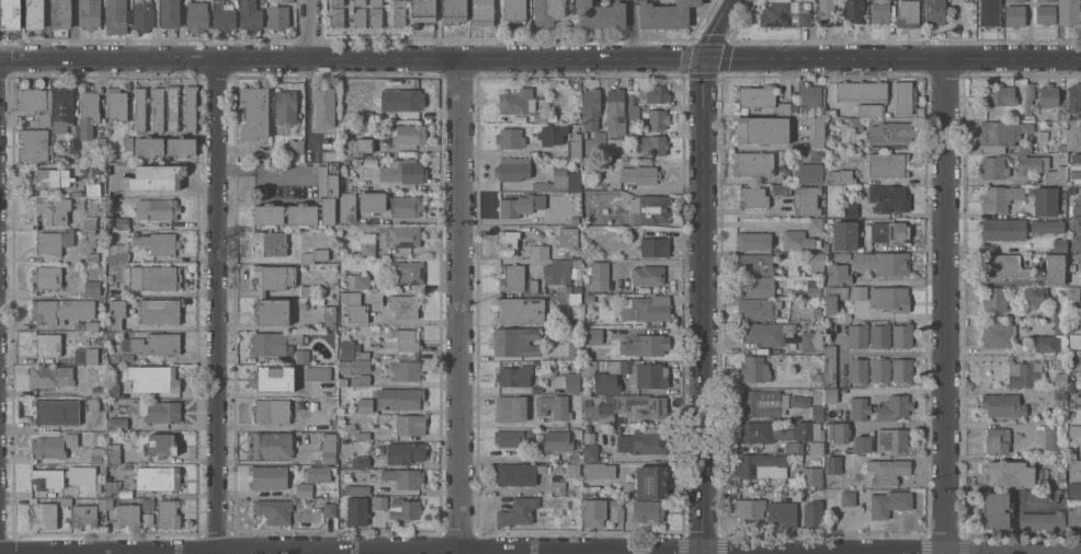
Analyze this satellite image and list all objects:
building: (287, 1)
building: (1015, 1)
building: (1046, 1)
building: (337, 2)
building: (359, 2)
building: (375, 2)
building: (399, 2)
building: (423, 10)
building: (515, 10)
building: (853, 10)
building: (454, 11)
building: (826, 11)
building: (880, 11)
building: (482, 12)
building: (544, 12)
building: (935, 12)
building: (1069, 12)
building: (11, 13)
building: (34, 13)
building: (61, 13)
building: (90, 13)
building: (170, 13)
building: (775, 13)
building: (909, 13)
building: (989, 13)
building: (600, 14)
building: (665, 14)
building: (1046, 14)
building: (1014, 15)
building: (116, 16)
building: (143, 16)
building: (197, 16)
building: (224, 16)
building: (251, 16)
building: (278, 16)
building: (399, 16)
building: (337, 18)
building: (360, 18)
building: (375, 18)
building: (805, 18)
road: (630, 27)
road: (1029, 27)
road: (314, 30)
road: (539, 57)
road: (1, 79)
building: (861, 90)
building: (653, 93)
building: (998, 94)
building: (756, 95)
building: (809, 95)
building: (1049, 95)
building: (631, 96)
building: (903, 97)
building: (1074, 97)
building: (33, 99)
building: (349, 99)
building: (1028, 99)
building: (401, 100)
building: (517, 101)
building: (62, 104)
building: (117, 104)
building: (286, 106)
building: (172, 107)
building: (191, 107)
building: (325, 107)
building: (139, 108)
building: (158, 108)
building: (591, 108)
building: (784, 108)
building: (871, 109)
building: (615, 112)
building: (634, 112)
building: (830, 112)
building: (255, 113)
building: (89, 114)
building: (366, 115)
building: (539, 117)
building: (44, 119)
building: (656, 119)
building: (855, 124)
building: (762, 129)
building: (817, 130)
building: (1002, 131)
building: (553, 134)
building: (409, 135)
building: (584, 135)
building: (634, 135)
building: (890, 135)
building: (1042, 137)
building: (510, 138)
building: (102, 143)
building: (128, 143)
building: (595, 143)
building: (34, 145)
building: (73, 145)
building: (357, 145)
building: (149, 146)
building: (182, 146)
building: (296, 146)
building: (653, 146)
building: (574, 147)
building: (1025, 148)
building: (623, 150)
building: (861, 152)
building: (833, 154)
building: (784, 155)
building: (817, 155)
building: (1076, 158)
building: (753, 163)
building: (1031, 163)
building: (887, 164)
road: (260, 168)
building: (994, 168)
building: (513, 169)
building: (95, 171)
building: (403, 171)
building: (810, 172)
building: (639, 174)
building: (1056, 175)
building: (158, 176)
building: (840, 176)
building: (52, 180)
building: (560, 183)
building: (89, 189)
building: (781, 189)
building: (1071, 189)
building: (328, 193)
building: (753, 197)
building: (1000, 197)
building: (889, 198)
building: (1080, 198)
building: (807, 200)
building: (371, 201)
building: (1046, 201)
building: (345, 206)
building: (407, 206)
building: (512, 206)
building: (54, 209)
building: (157, 209)
building: (649, 209)
building: (359, 210)
building: (558, 210)
building: (851, 210)
building: (1073, 211)
building: (269, 215)
building: (303, 215)
building: (624, 220)
road: (742, 222)
building: (90, 223)
building: (815, 224)
building: (1047, 226)
building: (624, 229)
building: (1004, 229)
building: (889, 232)
building: (845, 235)
building: (403, 236)
building: (568, 236)
building: (754, 240)
building: (797, 240)
building: (54, 242)
building: (158, 242)
building: (270, 243)
building: (509, 243)
building: (1060, 244)
building: (1079, 244)
building: (655, 246)
building: (367, 247)
building: (538, 251)
building: (576, 255)
building: (320, 256)
building: (842, 256)
building: (92, 257)
building: (118, 258)
building: (1080, 259)
road: (662, 262)
building: (884, 262)
building: (577, 263)
building: (817, 263)
building: (755, 264)
building: (1002, 266)
building: (1071, 267)
building: (1056, 268)
building: (407, 273)
road: (703, 273)
building: (557, 274)
building: (838, 274)
building: (600, 275)
building: (648, 275)
building: (48, 277)
building: (159, 277)
building: (274, 277)
building: (512, 277)
building: (356, 280)
building: (536, 286)
building: (756, 286)
building: (92, 287)
building: (115, 287)
building: (813, 287)
building: (1062, 289)
building: (307, 291)
building: (1074, 293)
building: (842, 296)
building: (1035, 296)
building: (589, 297)
building: (608, 297)
building: (890, 298)
building: (574, 299)
building: (994, 299)
building: (102, 300)
road: (945, 304)
road: (217, 305)
building: (403, 305)
road: (463, 305)
building: (354, 307)
building: (646, 308)
building: (759, 309)
building: (62, 310)
building: (520, 310)
building: (159, 311)
building: (272, 311)
building: (1060, 311)
building: (817, 312)
building: (116, 313)
building: (847, 316)
building: (330, 318)
building: (92, 325)
building: (1059, 327)
building: (767, 332)
building: (111, 333)
building: (999, 334)
building: (594, 335)
building: (858, 335)
building: (880, 335)
building: (902, 335)
building: (407, 339)
building: (808, 341)
building: (515, 342)
building: (1046, 343)
building: (46, 344)
building: (153, 344)
building: (274, 344)
building: (645, 345)
building: (574, 350)
road: (889, 351)
building: (350, 354)
building: (362, 354)
building: (92, 356)
building: (303, 356)
building: (115, 358)
road: (995, 358)
building: (1059, 361)
building: (355, 366)
building: (831, 366)
building: (589, 367)
building: (754, 369)
building: (406, 370)
building: (858, 370)
building: (902, 370)
building: (642, 372)
building: (318, 373)
building: (1024, 373)
building: (52, 376)
building: (514, 376)
building: (155, 378)
building: (274, 378)
building: (1061, 378)
building: (361, 380)
building: (818, 380)
building: (343, 381)
building: (572, 382)
building: (606, 382)
building: (113, 389)
building: (99, 391)
building: (831, 395)
building: (400, 397)
building: (1060, 399)
building: (799, 401)
building: (764, 403)
building: (1076, 403)
building: (365, 405)
building: (1003, 405)
building: (314, 406)
building: (554, 406)
building: (625, 406)
building: (109, 407)
building: (860, 407)
building: (895, 407)
building: (511, 408)
building: (99, 411)
building: (160, 411)
building: (272, 411)
building: (57, 412)
building: (818, 412)
building: (1071, 413)
building: (117, 423)
building: (410, 425)
building: (780, 431)
building: (839, 431)
building: (1074, 431)
building: (579, 432)
building: (530, 435)
building: (363, 436)
building: (1052, 437)
building: (509, 438)
building: (589, 438)
building: (892, 440)
building: (998, 440)
building: (559, 441)
building: (642, 442)
building: (863, 443)
building: (54, 445)
building: (162, 445)
building: (272, 445)
building: (792, 448)
building: (817, 448)
building: (329, 449)
building: (804, 449)
building: (405, 452)
building: (591, 452)
building: (98, 455)
building: (113, 455)
building: (574, 457)
road: (501, 458)
building: (813, 460)
building: (361, 461)
building: (1073, 461)
building: (834, 464)
building: (763, 466)
building: (573, 470)
building: (596, 470)
building: (888, 471)
building: (319, 473)
building: (517, 474)
building: (1010, 474)
building: (812, 475)
building: (158, 477)
building: (269, 477)
building: (403, 477)
building: (48, 480)
building: (649, 482)
building: (558, 484)
building: (113, 489)
building: (304, 489)
building: (357, 489)
building: (1074, 489)
building: (104, 493)
building: (847, 497)
building: (65, 501)
building: (379, 503)
building: (889, 503)
building: (103, 504)
building: (110, 504)
building: (148, 504)
building: (406, 508)
building: (750, 508)
building: (330, 509)
building: (274, 510)
building: (616, 510)
building: (995, 510)
building: (357, 511)
building: (517, 511)
building: (647, 511)
building: (594, 512)
building: (168, 513)
building: (782, 513)
building: (812, 513)
building: (45, 516)
building: (127, 516)
building: (84, 517)
building: (1073, 517)
building: (147, 518)
building: (1043, 521)
road: (351, 552)
road: (584, 552)
road: (342, 553)
road: (891, 553)
road: (1065, 553)

